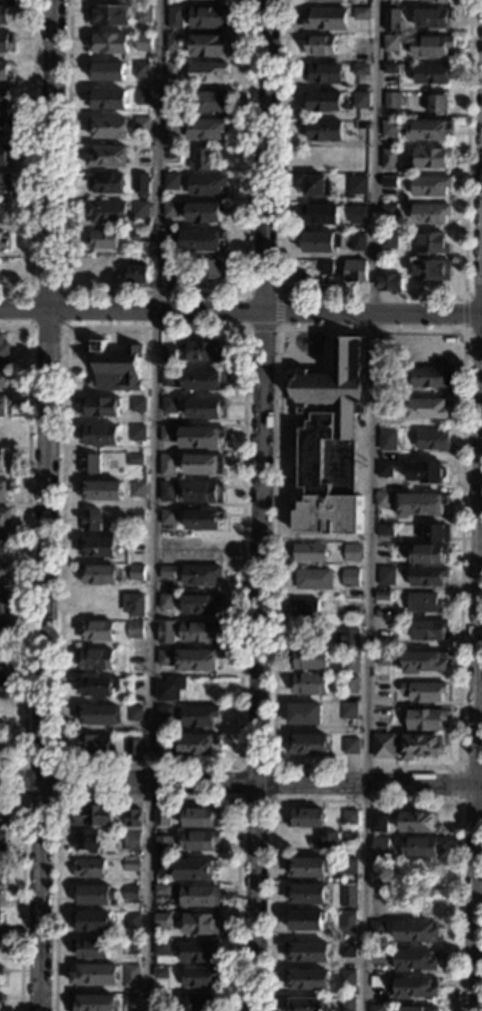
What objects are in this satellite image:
building: (213, 0)
building: (327, 0)
building: (430, 3)
building: (6, 13)
building: (143, 14)
building: (361, 14)
building: (108, 16)
building: (208, 17)
building: (175, 18)
building: (433, 18)
building: (326, 19)
building: (392, 20)
building: (174, 41)
building: (6, 42)
building: (143, 42)
building: (110, 43)
building: (391, 44)
building: (321, 45)
building: (208, 46)
building: (431, 46)
building: (348, 66)
building: (390, 68)
building: (360, 69)
building: (141, 70)
building: (173, 70)
building: (107, 71)
building: (5, 73)
building: (209, 73)
building: (323, 73)
building: (432, 73)
building: (142, 97)
building: (5, 98)
building: (360, 99)
building: (107, 100)
building: (391, 100)
building: (211, 102)
building: (322, 102)
building: (437, 104)
building: (360, 124)
building: (141, 125)
building: (171, 125)
building: (5, 126)
building: (108, 128)
building: (207, 129)
building: (389, 129)
building: (323, 130)
building: (430, 130)
building: (5, 154)
building: (108, 157)
building: (390, 159)
building: (428, 159)
road: (32, 160)
building: (201, 160)
building: (171, 182)
building: (391, 182)
building: (107, 183)
building: (140, 183)
building: (4, 184)
building: (206, 185)
building: (357, 185)
building: (317, 186)
building: (430, 186)
building: (140, 209)
building: (170, 210)
building: (106, 212)
building: (205, 212)
building: (5, 213)
building: (430, 213)
building: (319, 214)
building: (388, 214)
building: (358, 215)
building: (140, 236)
building: (170, 237)
building: (103, 239)
building: (202, 240)
building: (389, 240)
building: (357, 241)
building: (5, 242)
building: (320, 242)
building: (431, 244)
building: (326, 267)
building: (211, 269)
building: (431, 270)
building: (355, 271)
building: (138, 274)
building: (168, 274)
building: (389, 282)
road: (155, 294)
road: (245, 296)
road: (372, 296)
road: (473, 298)
road: (240, 311)
road: (464, 316)
road: (29, 326)
road: (243, 329)
road: (278, 331)
road: (462, 333)
road: (473, 333)
building: (4, 351)
building: (203, 351)
building: (168, 353)
building: (120, 365)
building: (386, 375)
building: (5, 377)
building: (431, 377)
building: (169, 379)
building: (203, 381)
building: (5, 405)
building: (137, 405)
building: (169, 405)
building: (386, 407)
building: (100, 408)
building: (205, 408)
building: (428, 408)
building: (332, 419)
building: (137, 433)
building: (167, 433)
building: (100, 435)
building: (201, 438)
building: (387, 440)
building: (433, 440)
building: (134, 460)
building: (4, 461)
building: (89, 464)
building: (204, 464)
building: (167, 466)
building: (384, 469)
building: (427, 472)
building: (137, 489)
building: (4, 490)
building: (101, 491)
building: (167, 492)
building: (204, 493)
building: (383, 500)
building: (421, 504)
road: (44, 505)
road: (152, 505)
road: (259, 505)
road: (372, 505)
building: (352, 512)
building: (313, 513)
building: (136, 515)
building: (4, 517)
building: (167, 517)
building: (92, 520)
building: (203, 520)
building: (385, 530)
building: (437, 533)
road: (26, 541)
building: (136, 545)
building: (3, 546)
building: (98, 548)
building: (382, 551)
building: (352, 552)
building: (310, 553)
building: (428, 554)
building: (4, 573)
building: (136, 573)
building: (166, 573)
building: (99, 575)
building: (200, 576)
building: (387, 576)
building: (428, 576)
building: (350, 578)
building: (313, 579)
building: (383, 596)
building: (4, 600)
building: (166, 602)
building: (424, 603)
building: (200, 604)
building: (133, 605)
building: (305, 608)
building: (385, 629)
building: (4, 630)
building: (134, 630)
building: (429, 630)
building: (97, 631)
building: (165, 632)
building: (199, 632)
building: (346, 638)
building: (164, 658)
building: (384, 658)
building: (95, 659)
building: (310, 659)
building: (198, 660)
building: (4, 661)
building: (425, 662)
building: (351, 665)
building: (311, 684)
building: (351, 684)
building: (3, 685)
building: (134, 686)
building: (98, 687)
building: (169, 690)
building: (427, 692)
road: (477, 703)
building: (349, 710)
building: (164, 712)
building: (134, 714)
building: (305, 714)
building: (98, 715)
building: (199, 716)
building: (382, 716)
building: (428, 720)
building: (163, 744)
building: (198, 744)
building: (94, 745)
building: (309, 745)
building: (352, 746)
building: (385, 746)
building: (134, 747)
building: (422, 747)
road: (457, 783)
road: (241, 784)
road: (56, 798)
road: (147, 798)
road: (273, 800)
road: (364, 800)
building: (95, 816)
building: (162, 817)
building: (133, 818)
building: (307, 818)
building: (350, 818)
building: (200, 819)
building: (3, 820)
building: (379, 821)
building: (420, 822)
building: (349, 834)
building: (3, 840)
building: (131, 841)
building: (199, 841)
building: (328, 841)
building: (87, 842)
building: (163, 846)
building: (380, 847)
building: (421, 847)
building: (131, 864)
building: (350, 866)
building: (162, 867)
building: (308, 868)
building: (90, 869)
building: (195, 869)
building: (380, 876)
building: (162, 890)
road: (20, 893)
building: (131, 893)
building: (307, 894)
building: (2, 895)
building: (96, 895)
building: (349, 896)
building: (199, 897)
building: (0, 921)
building: (92, 921)
building: (131, 921)
building: (161, 921)
building: (306, 921)
building: (348, 921)
building: (201, 924)
building: (378, 932)
building: (418, 932)
building: (2, 944)
building: (131, 947)
building: (161, 947)
building: (92, 949)
building: (348, 949)
building: (198, 951)
building: (309, 952)
building: (378, 956)
building: (416, 960)
building: (1, 971)
building: (161, 973)
building: (95, 975)
building: (131, 976)
building: (200, 977)
building: (348, 977)
building: (309, 981)
building: (416, 988)
building: (1, 998)
building: (160, 1002)
building: (93, 1003)
building: (197, 1003)
building: (347, 1004)
building: (305, 1005)
building: (377, 1008)
building: (419, 1008)

